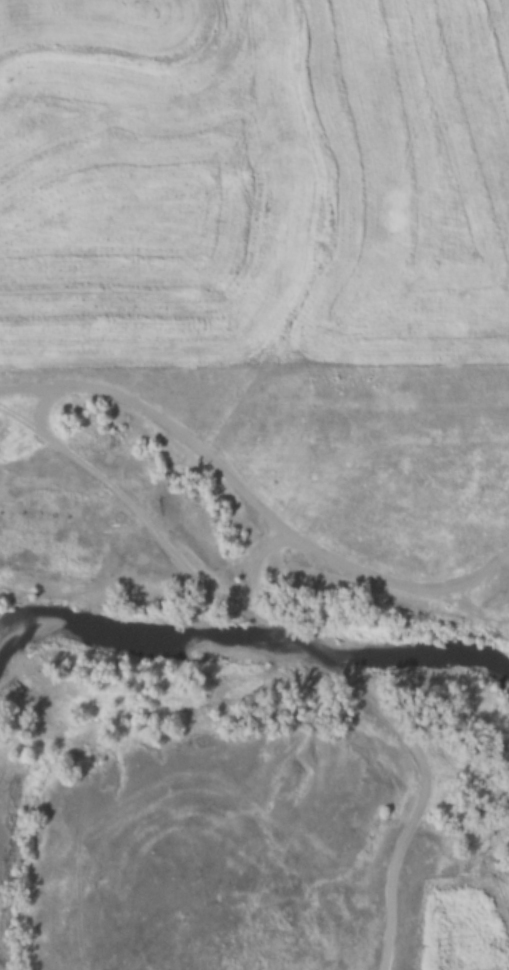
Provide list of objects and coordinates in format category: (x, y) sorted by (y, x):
road: (286, 639)
river: (254, 640)

